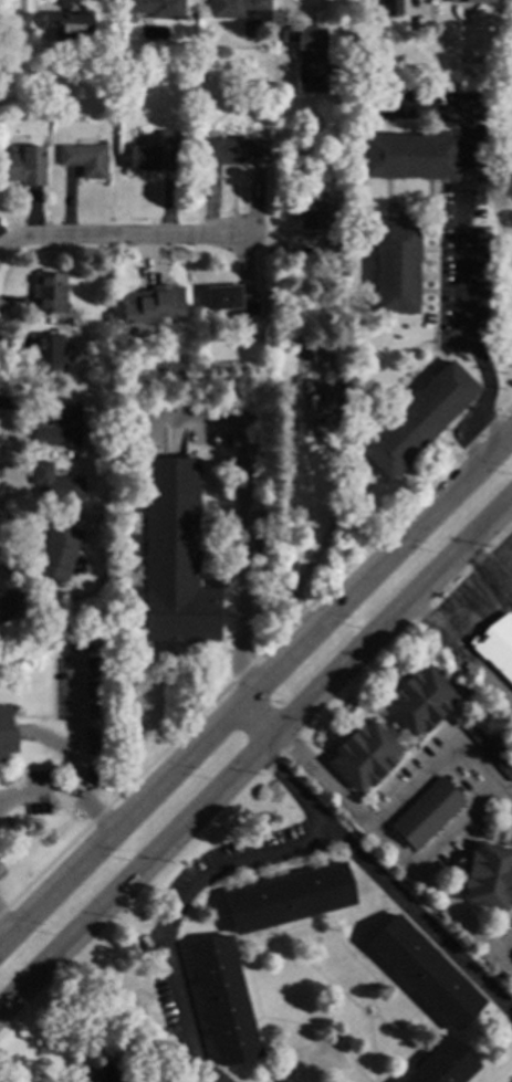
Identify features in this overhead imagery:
building: (468, 0)
road: (23, 3)
road: (48, 3)
building: (389, 7)
building: (156, 8)
building: (241, 10)
road: (299, 12)
building: (13, 20)
building: (113, 20)
building: (67, 25)
building: (304, 36)
building: (188, 44)
building: (368, 76)
building: (294, 83)
building: (262, 91)
building: (209, 108)
building: (234, 150)
building: (151, 151)
building: (409, 155)
building: (85, 159)
building: (23, 165)
building: (311, 210)
road: (113, 233)
road: (464, 239)
building: (334, 242)
building: (396, 266)
building: (50, 293)
building: (231, 300)
building: (153, 303)
building: (107, 317)
building: (260, 321)
building: (301, 337)
building: (46, 354)
building: (175, 368)
building: (312, 402)
building: (419, 419)
building: (60, 426)
road: (462, 442)
building: (54, 482)
road: (334, 514)
road: (241, 517)
building: (56, 550)
building: (173, 556)
road: (480, 563)
road: (477, 599)
building: (13, 602)
building: (61, 614)
road: (425, 618)
building: (497, 644)
road: (251, 693)
building: (420, 698)
road: (252, 724)
building: (6, 734)
building: (491, 743)
road: (254, 750)
road: (445, 750)
road: (79, 752)
building: (365, 754)
road: (39, 795)
building: (427, 812)
road: (459, 831)
road: (401, 853)
road: (373, 873)
building: (489, 874)
building: (289, 897)
road: (174, 908)
road: (10, 924)
road: (505, 950)
building: (425, 971)
building: (142, 998)
building: (223, 1000)
building: (333, 1048)
building: (443, 1064)
building: (104, 1073)

